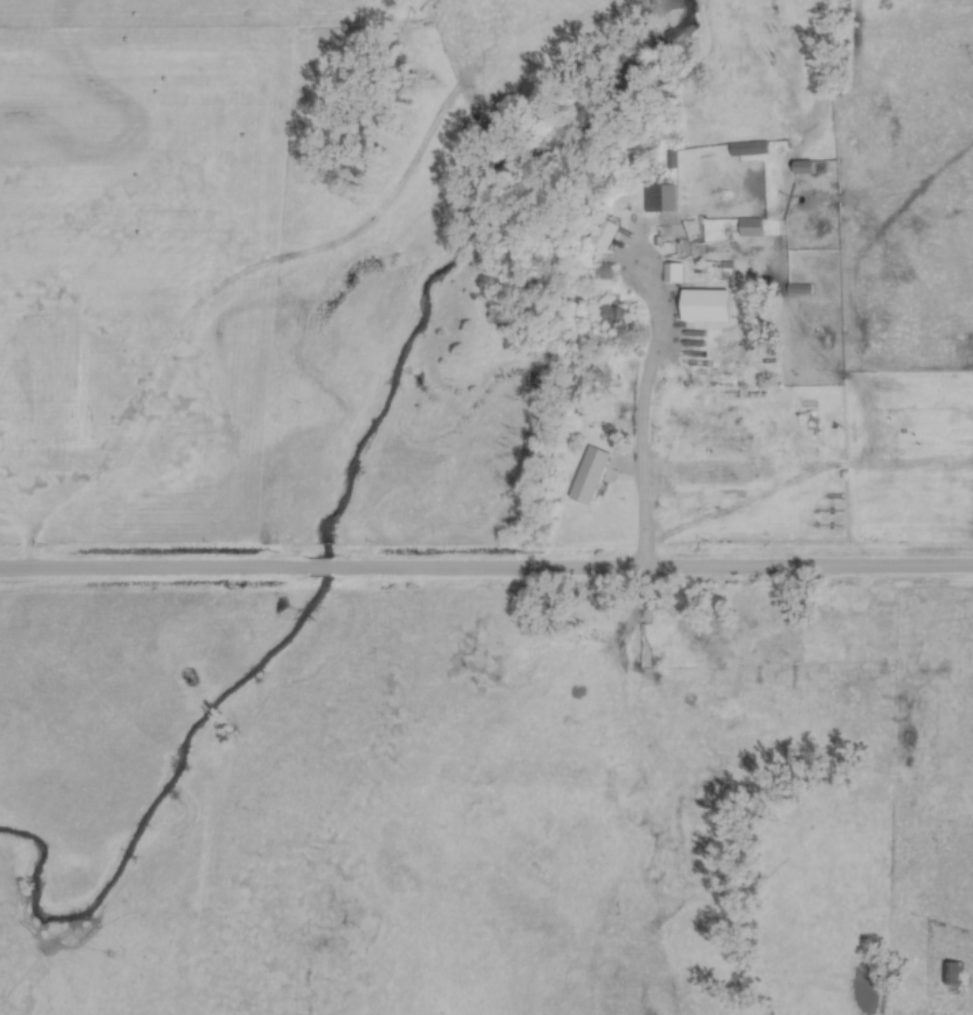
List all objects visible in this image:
building: (747, 149)
building: (800, 168)
building: (657, 198)
building: (748, 227)
building: (600, 233)
building: (670, 272)
building: (600, 273)
building: (796, 289)
building: (613, 316)
building: (51, 396)
road: (642, 405)
building: (587, 476)
river: (336, 512)
road: (318, 567)
road: (154, 568)
road: (651, 569)
building: (951, 973)

